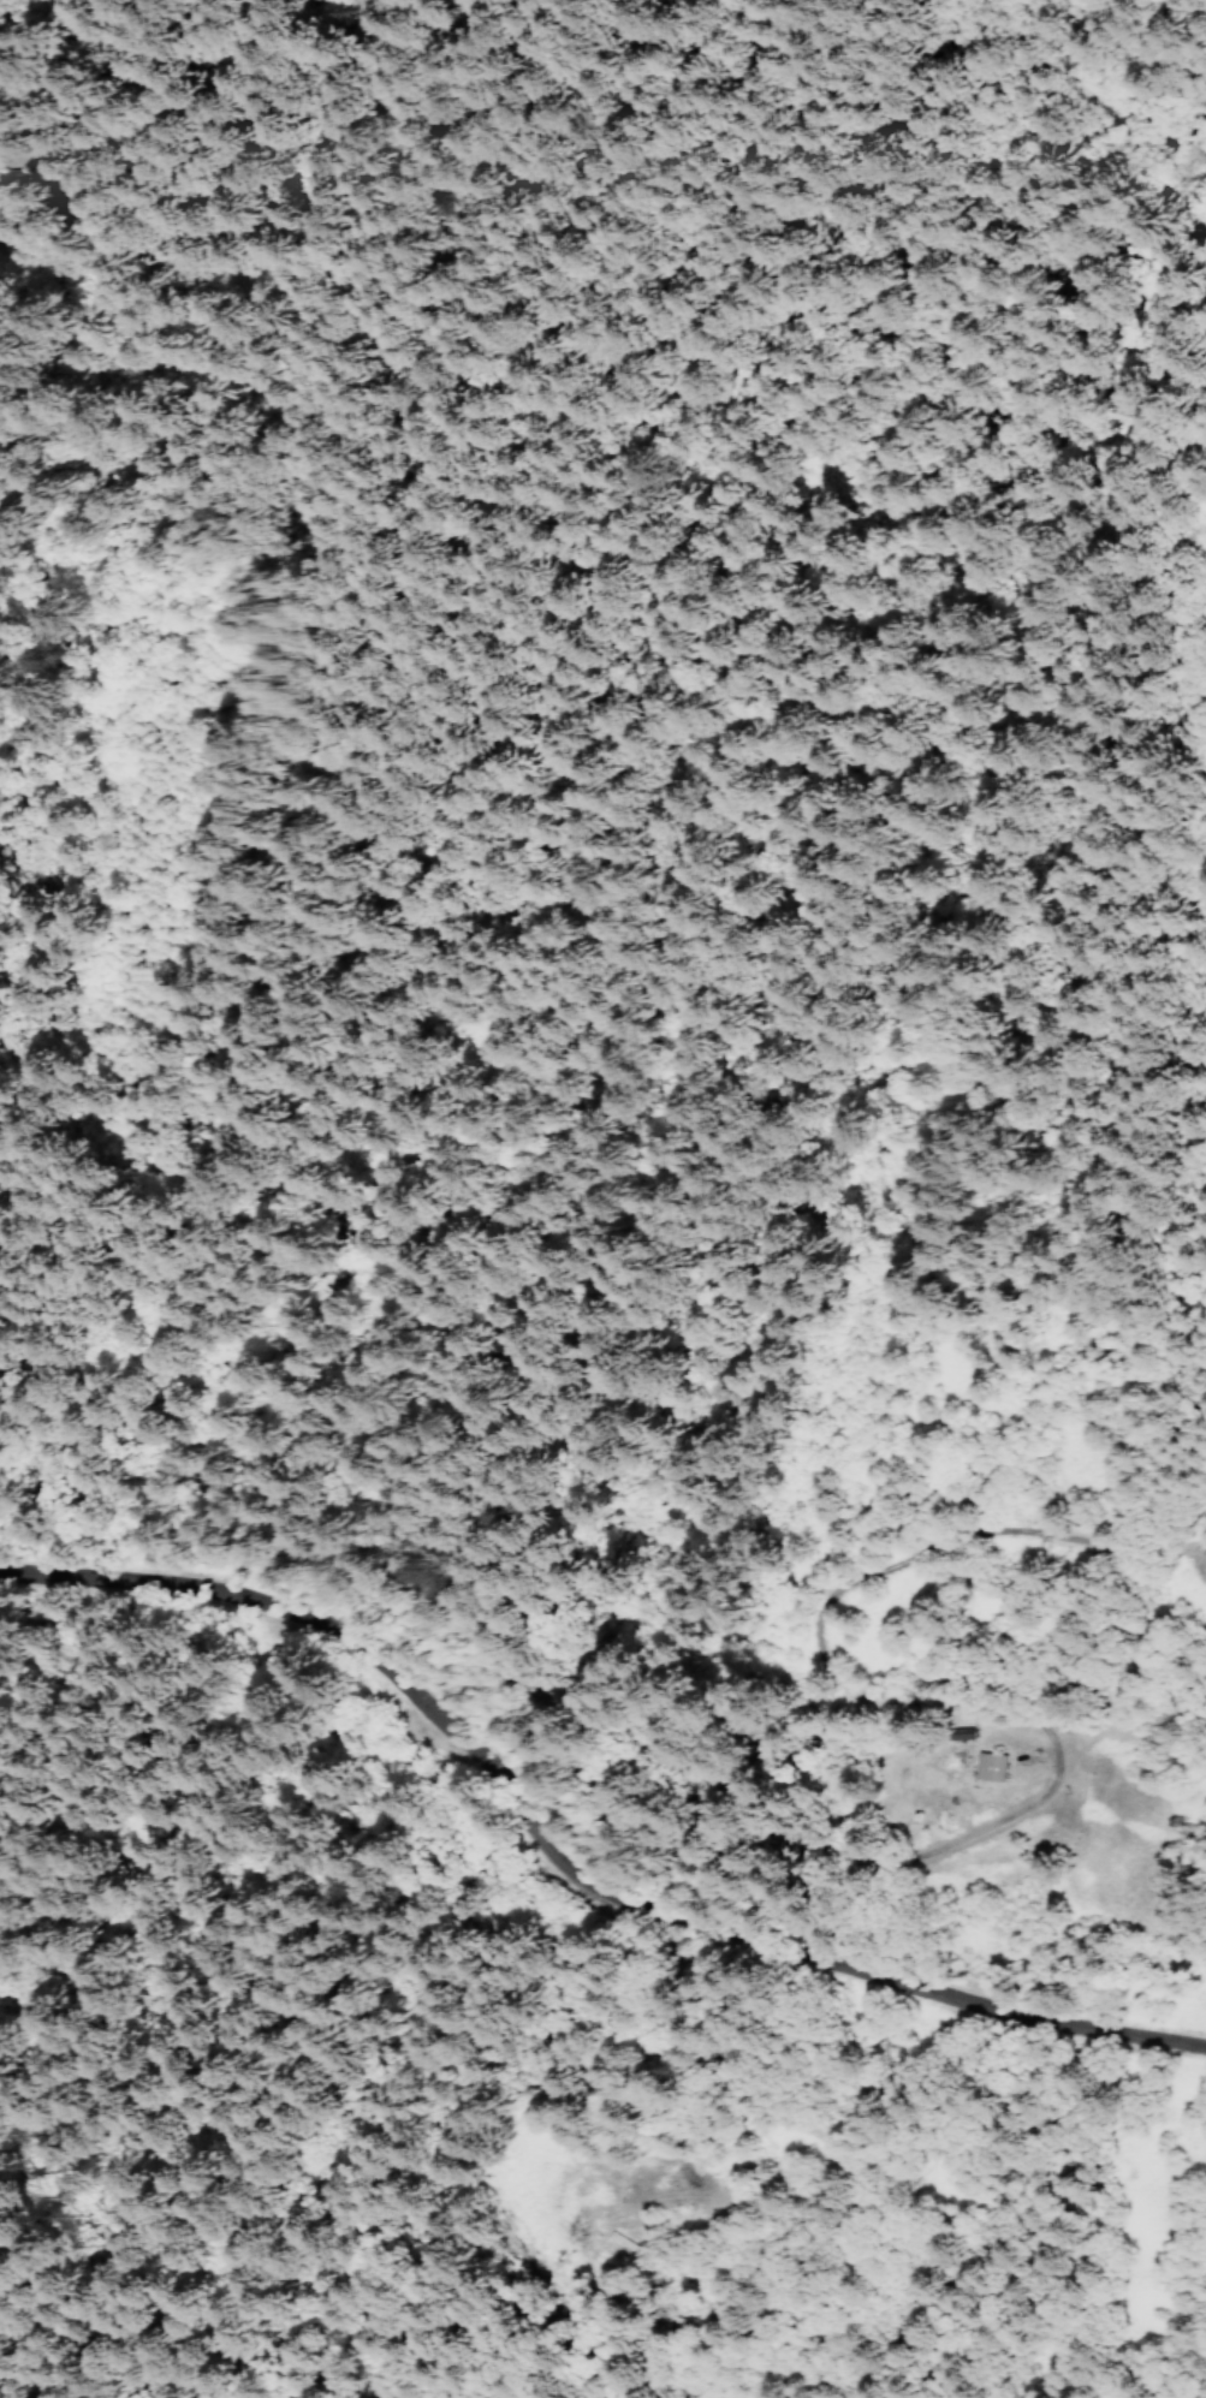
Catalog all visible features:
building: (987, 1768)
road: (913, 1856)
road: (563, 1864)

